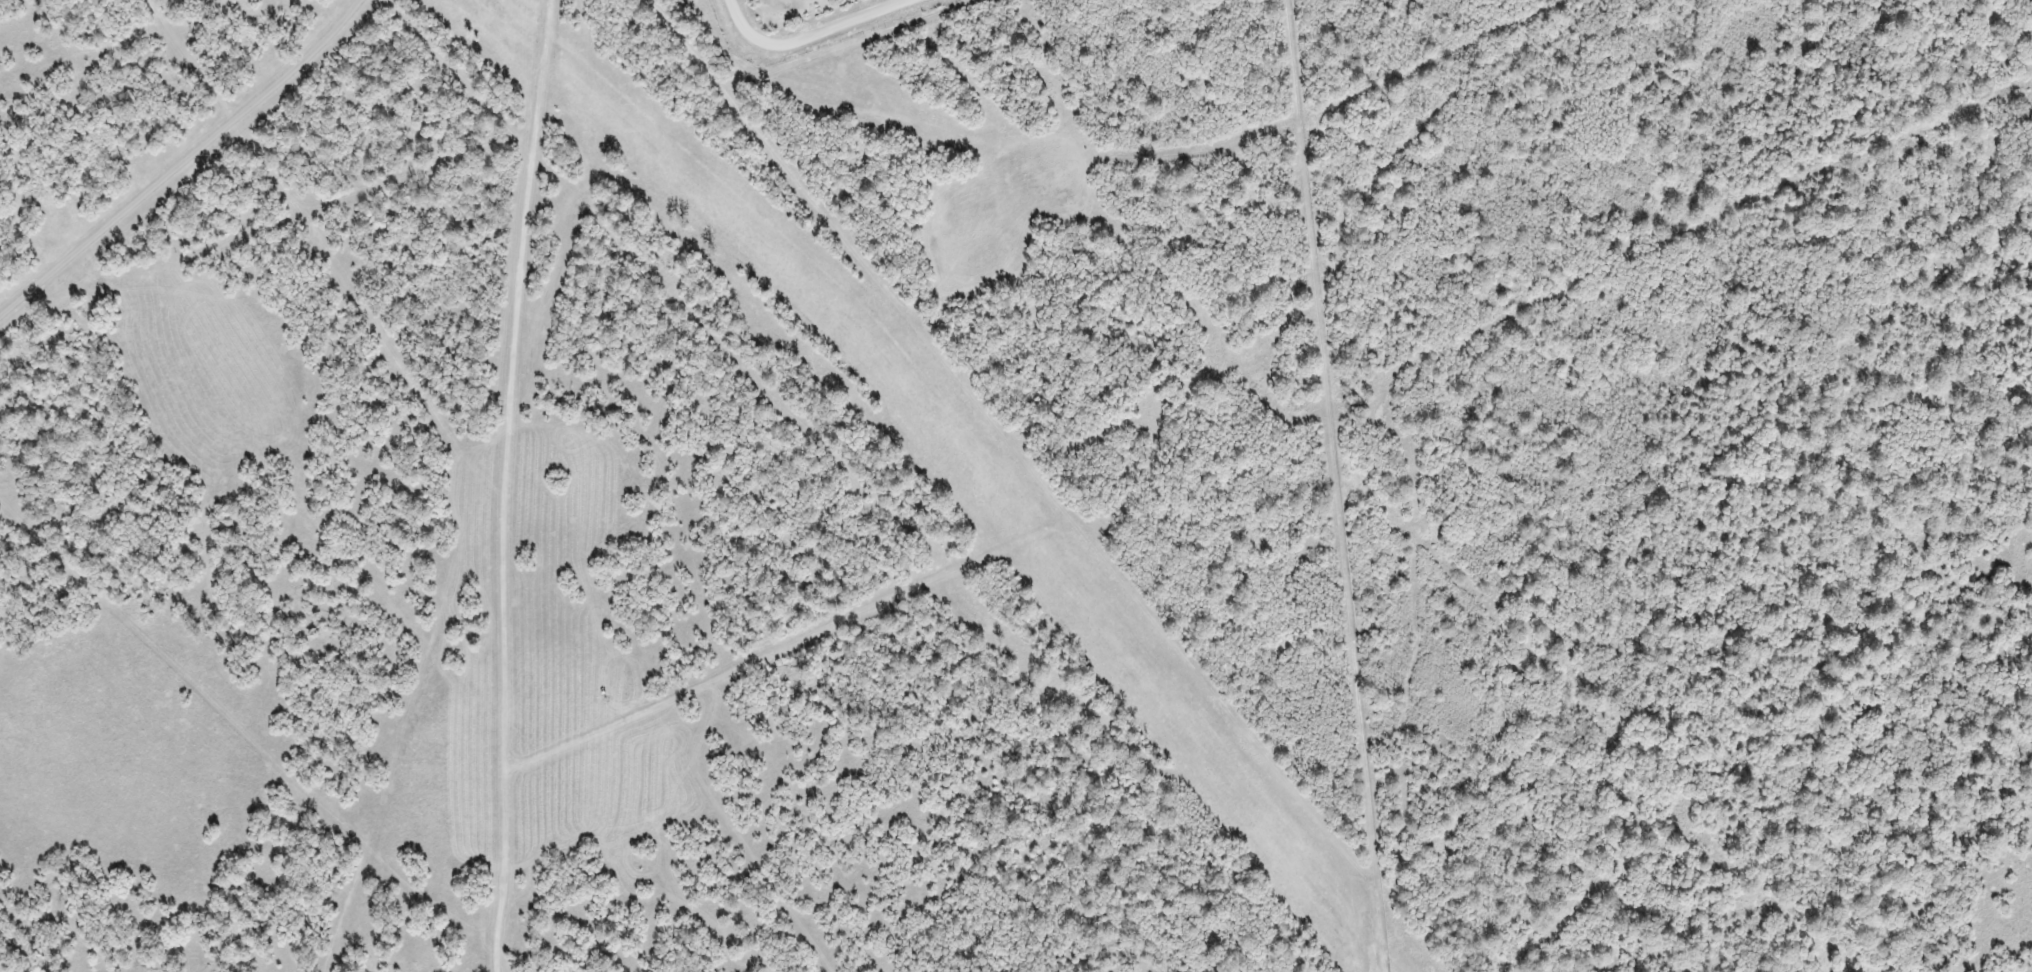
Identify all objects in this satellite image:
road: (658, 1)
road: (811, 35)
road: (172, 151)

